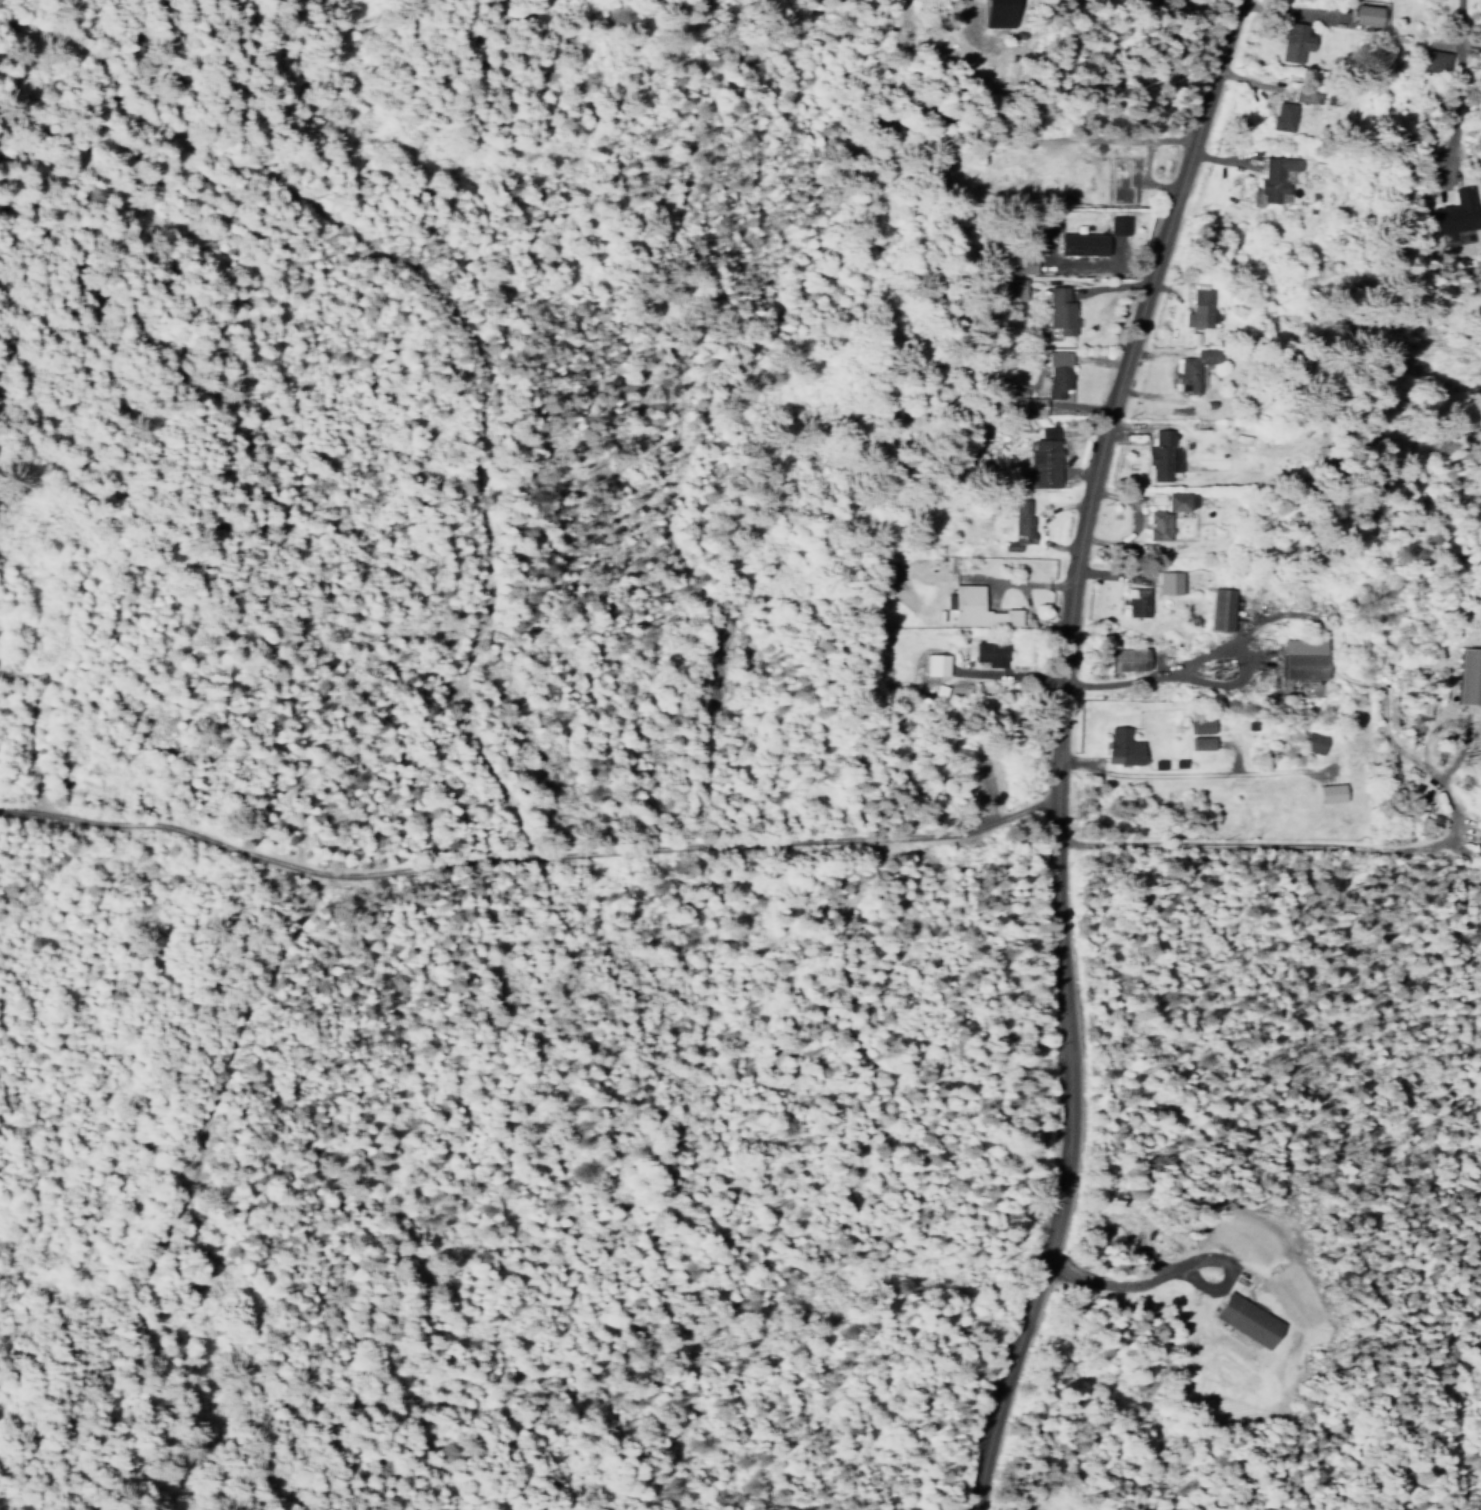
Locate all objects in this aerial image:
building: (1001, 13)
building: (1360, 15)
road: (1458, 21)
building: (1290, 41)
building: (1284, 116)
building: (1277, 178)
building: (1459, 212)
building: (1118, 226)
building: (1085, 243)
building: (1018, 288)
building: (1201, 308)
building: (1061, 310)
building: (1194, 367)
building: (1057, 373)
building: (1033, 406)
building: (1162, 454)
building: (1045, 457)
building: (1168, 514)
building: (1021, 523)
building: (1170, 582)
building: (1137, 602)
building: (978, 608)
building: (1222, 608)
building: (983, 651)
building: (1131, 659)
building: (1304, 661)
building: (937, 664)
building: (1463, 675)
building: (1203, 726)
building: (1315, 742)
building: (1204, 743)
building: (1124, 747)
road: (1045, 749)
building: (1331, 792)
road: (517, 854)
building: (1249, 1320)

